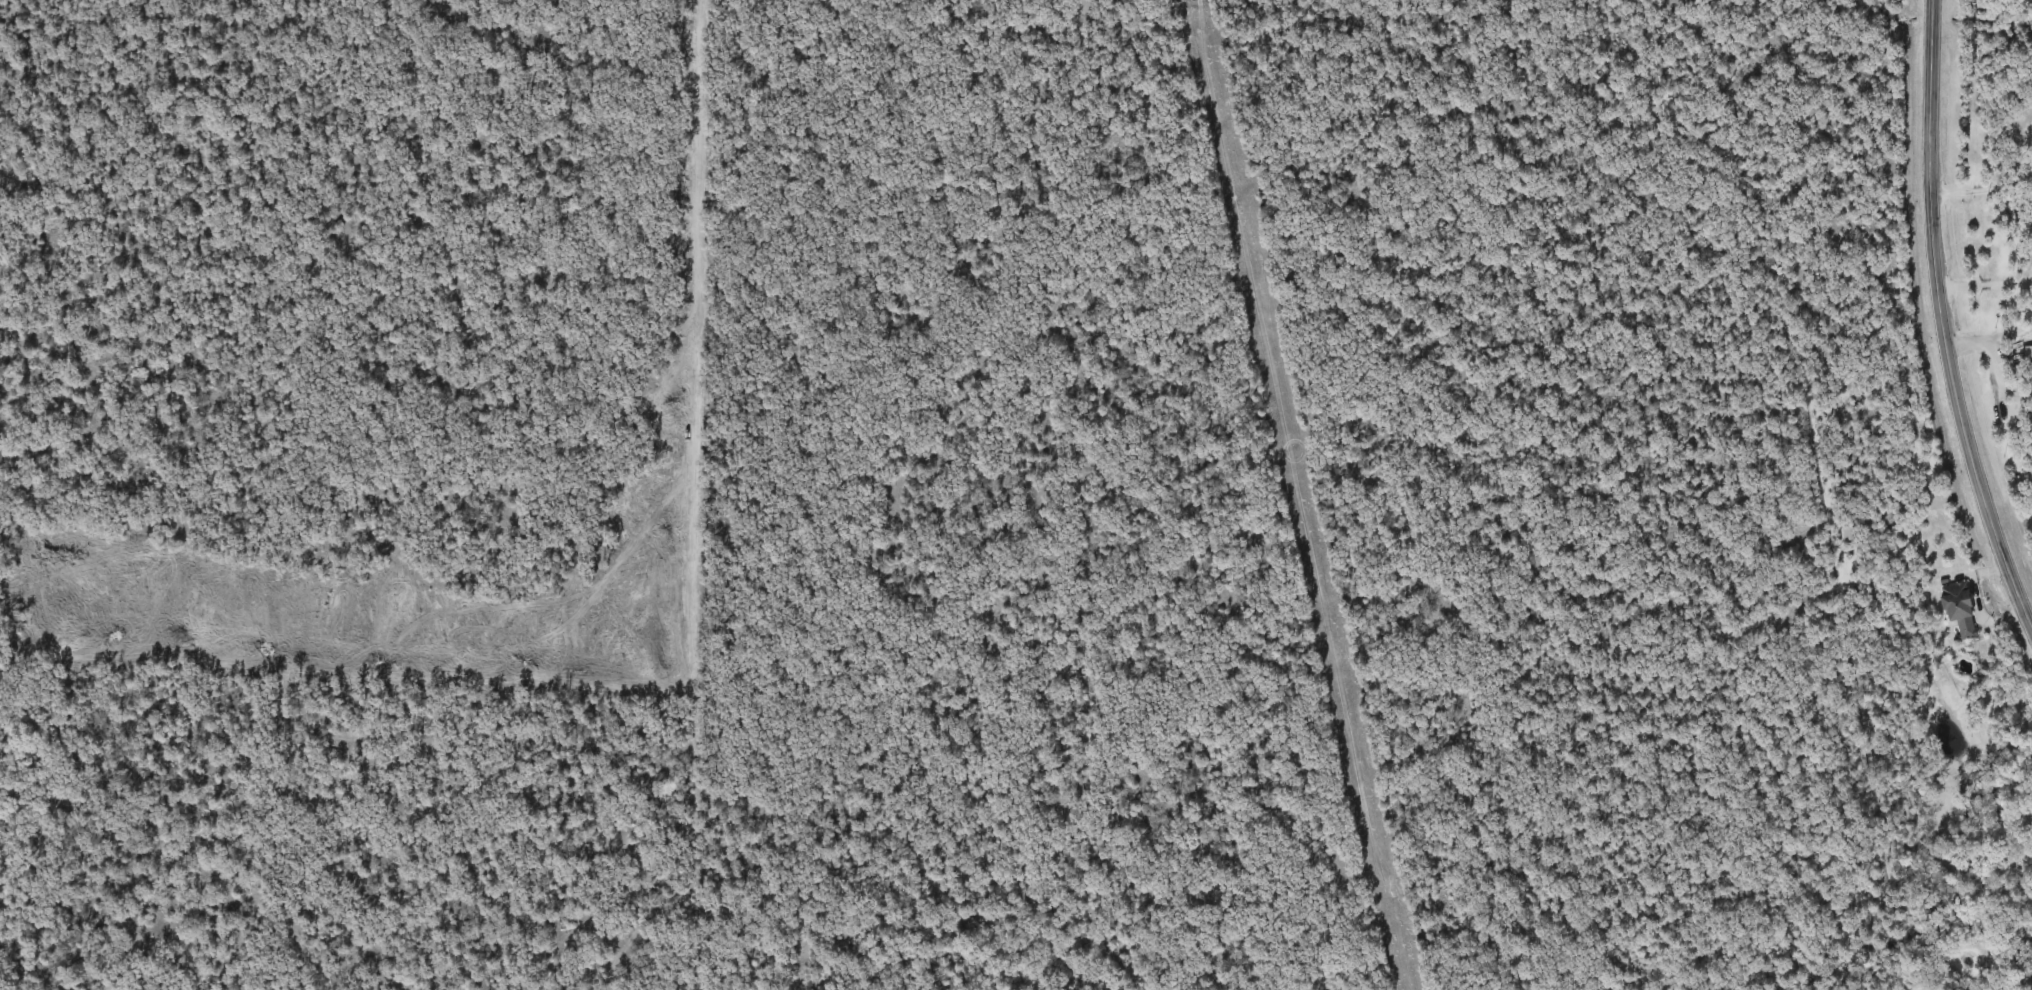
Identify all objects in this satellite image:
road: (1982, 193)
road: (1984, 285)
road: (1939, 322)
road: (1987, 335)
building: (2027, 360)
building: (1958, 616)

